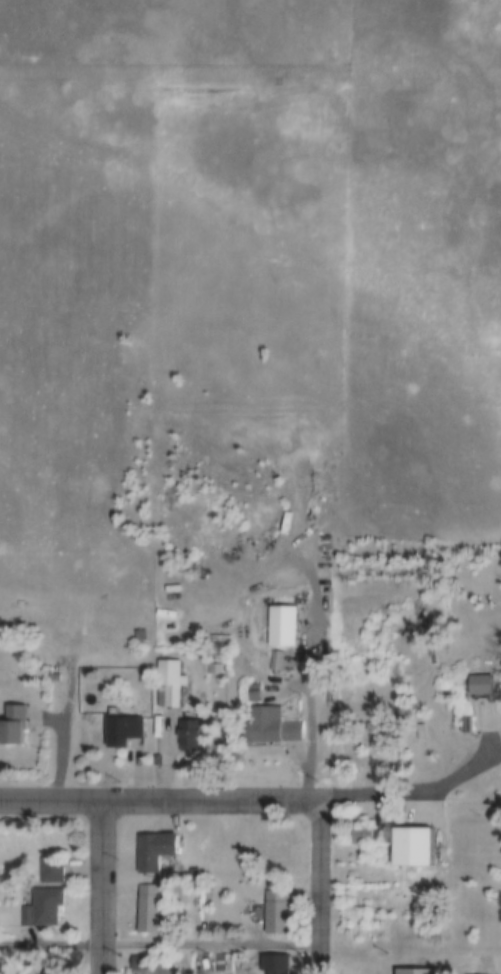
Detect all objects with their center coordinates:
building: (278, 630)
building: (136, 637)
building: (273, 665)
building: (478, 684)
building: (166, 687)
building: (249, 699)
building: (10, 726)
building: (265, 729)
building: (119, 736)
building: (186, 738)
road: (440, 789)
road: (163, 794)
building: (359, 835)
building: (410, 850)
building: (150, 856)
building: (190, 876)
road: (106, 883)
road: (327, 884)
building: (40, 895)
building: (146, 913)
building: (275, 913)
road: (163, 945)
building: (223, 962)
building: (272, 964)
building: (134, 965)
building: (50, 971)
building: (413, 973)

